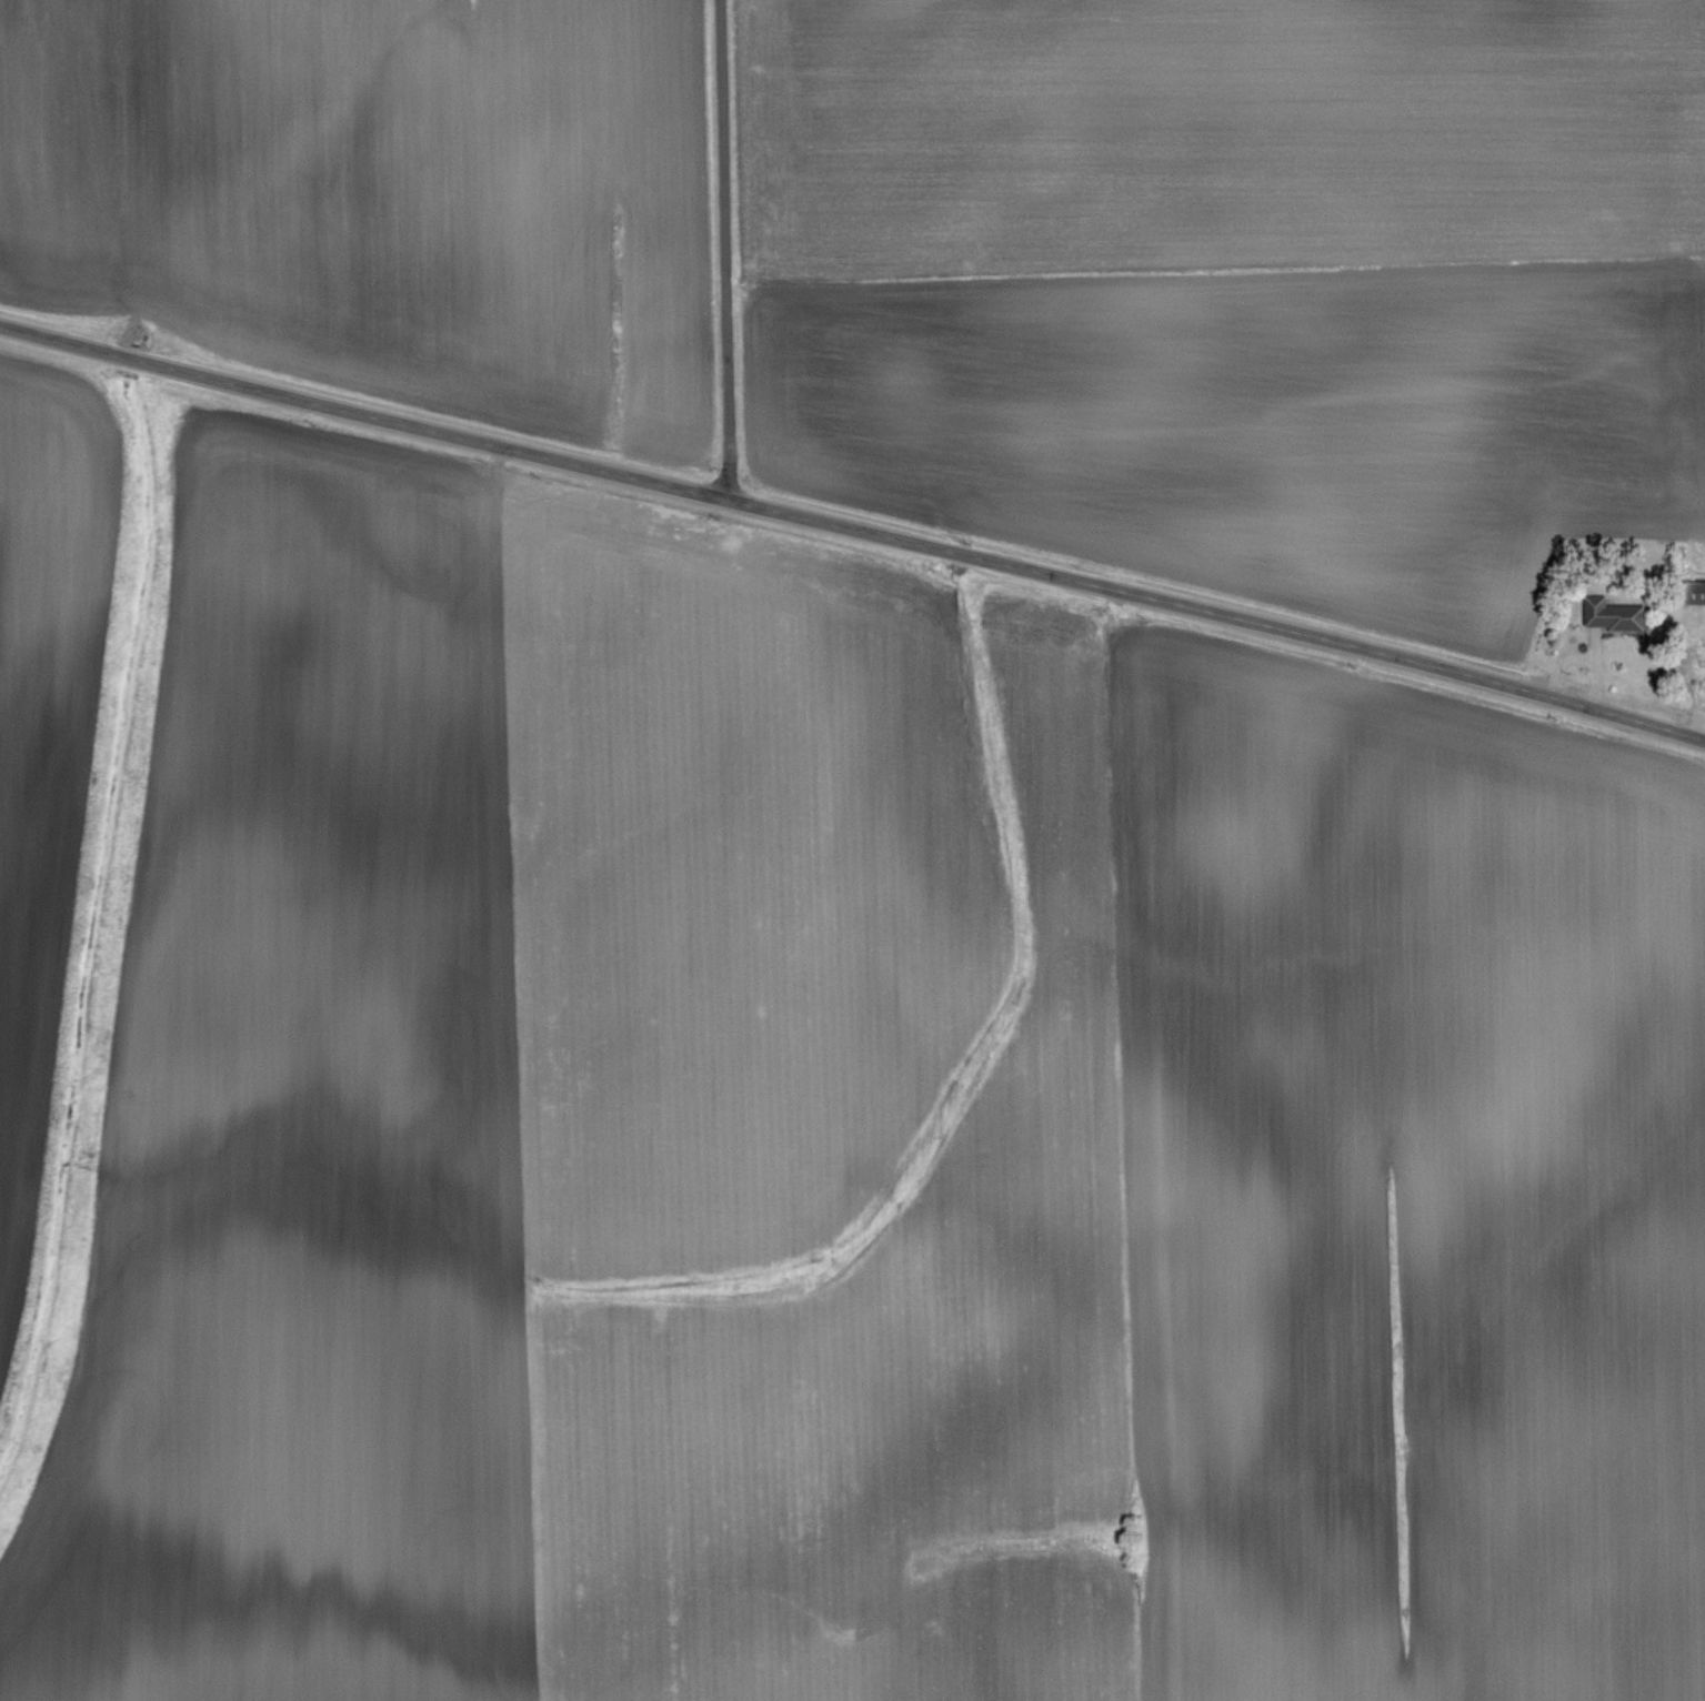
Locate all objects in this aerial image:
crop: (383, 195)
road: (724, 250)
crop: (1235, 285)
road: (853, 529)
building: (1597, 614)
crop: (44, 749)
crop: (859, 1145)

